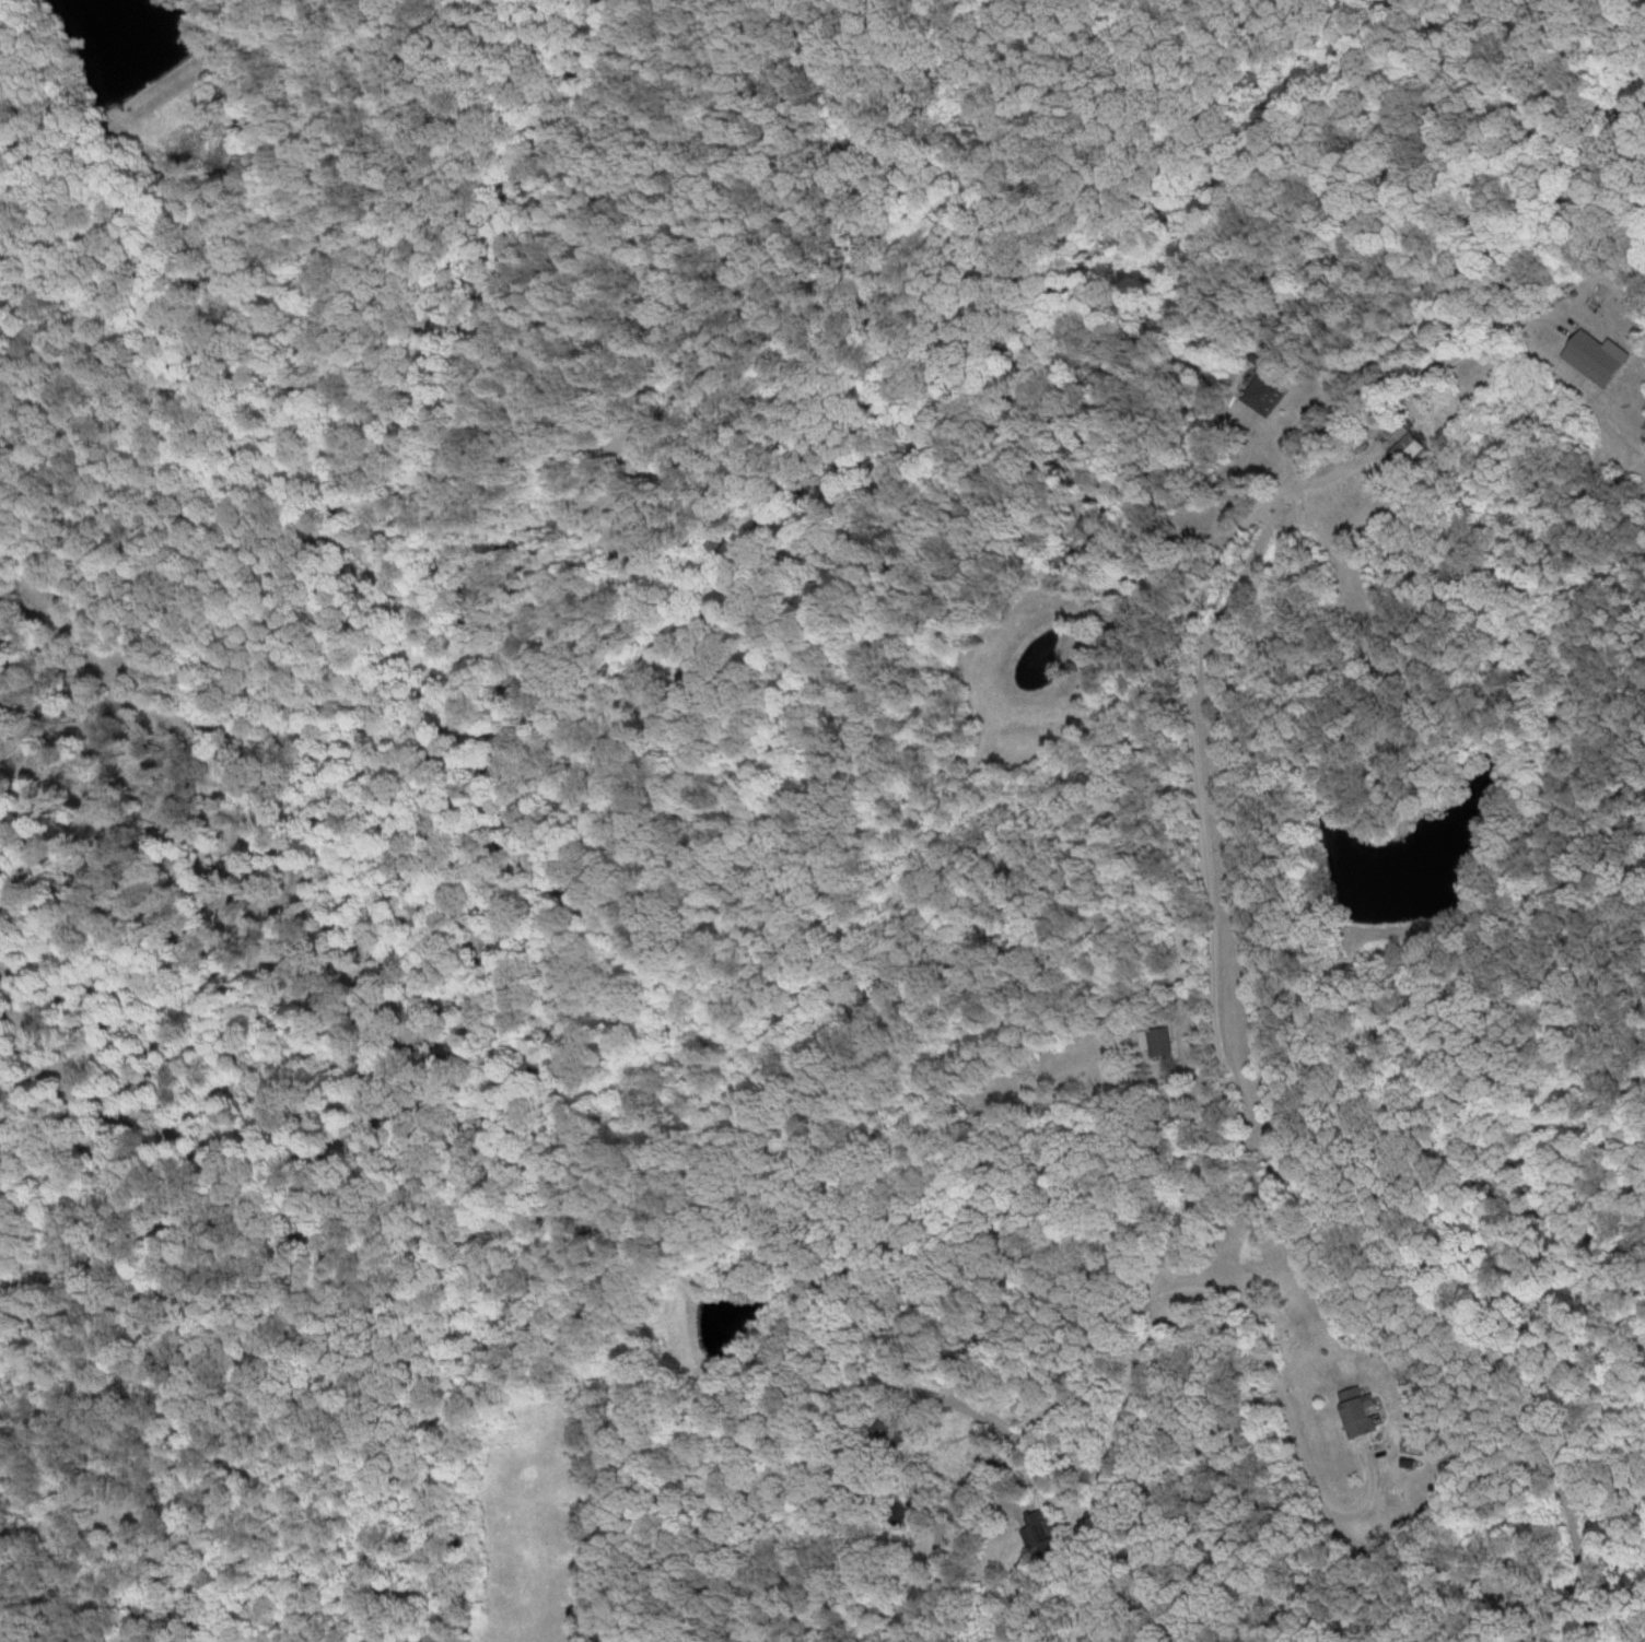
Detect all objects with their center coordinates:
road: (1470, 331)
building: (1592, 356)
building: (1259, 392)
building: (1403, 447)
road: (50, 654)
building: (1152, 1040)
road: (1228, 1071)
building: (1352, 1409)
road: (1310, 1459)
building: (1034, 1530)

